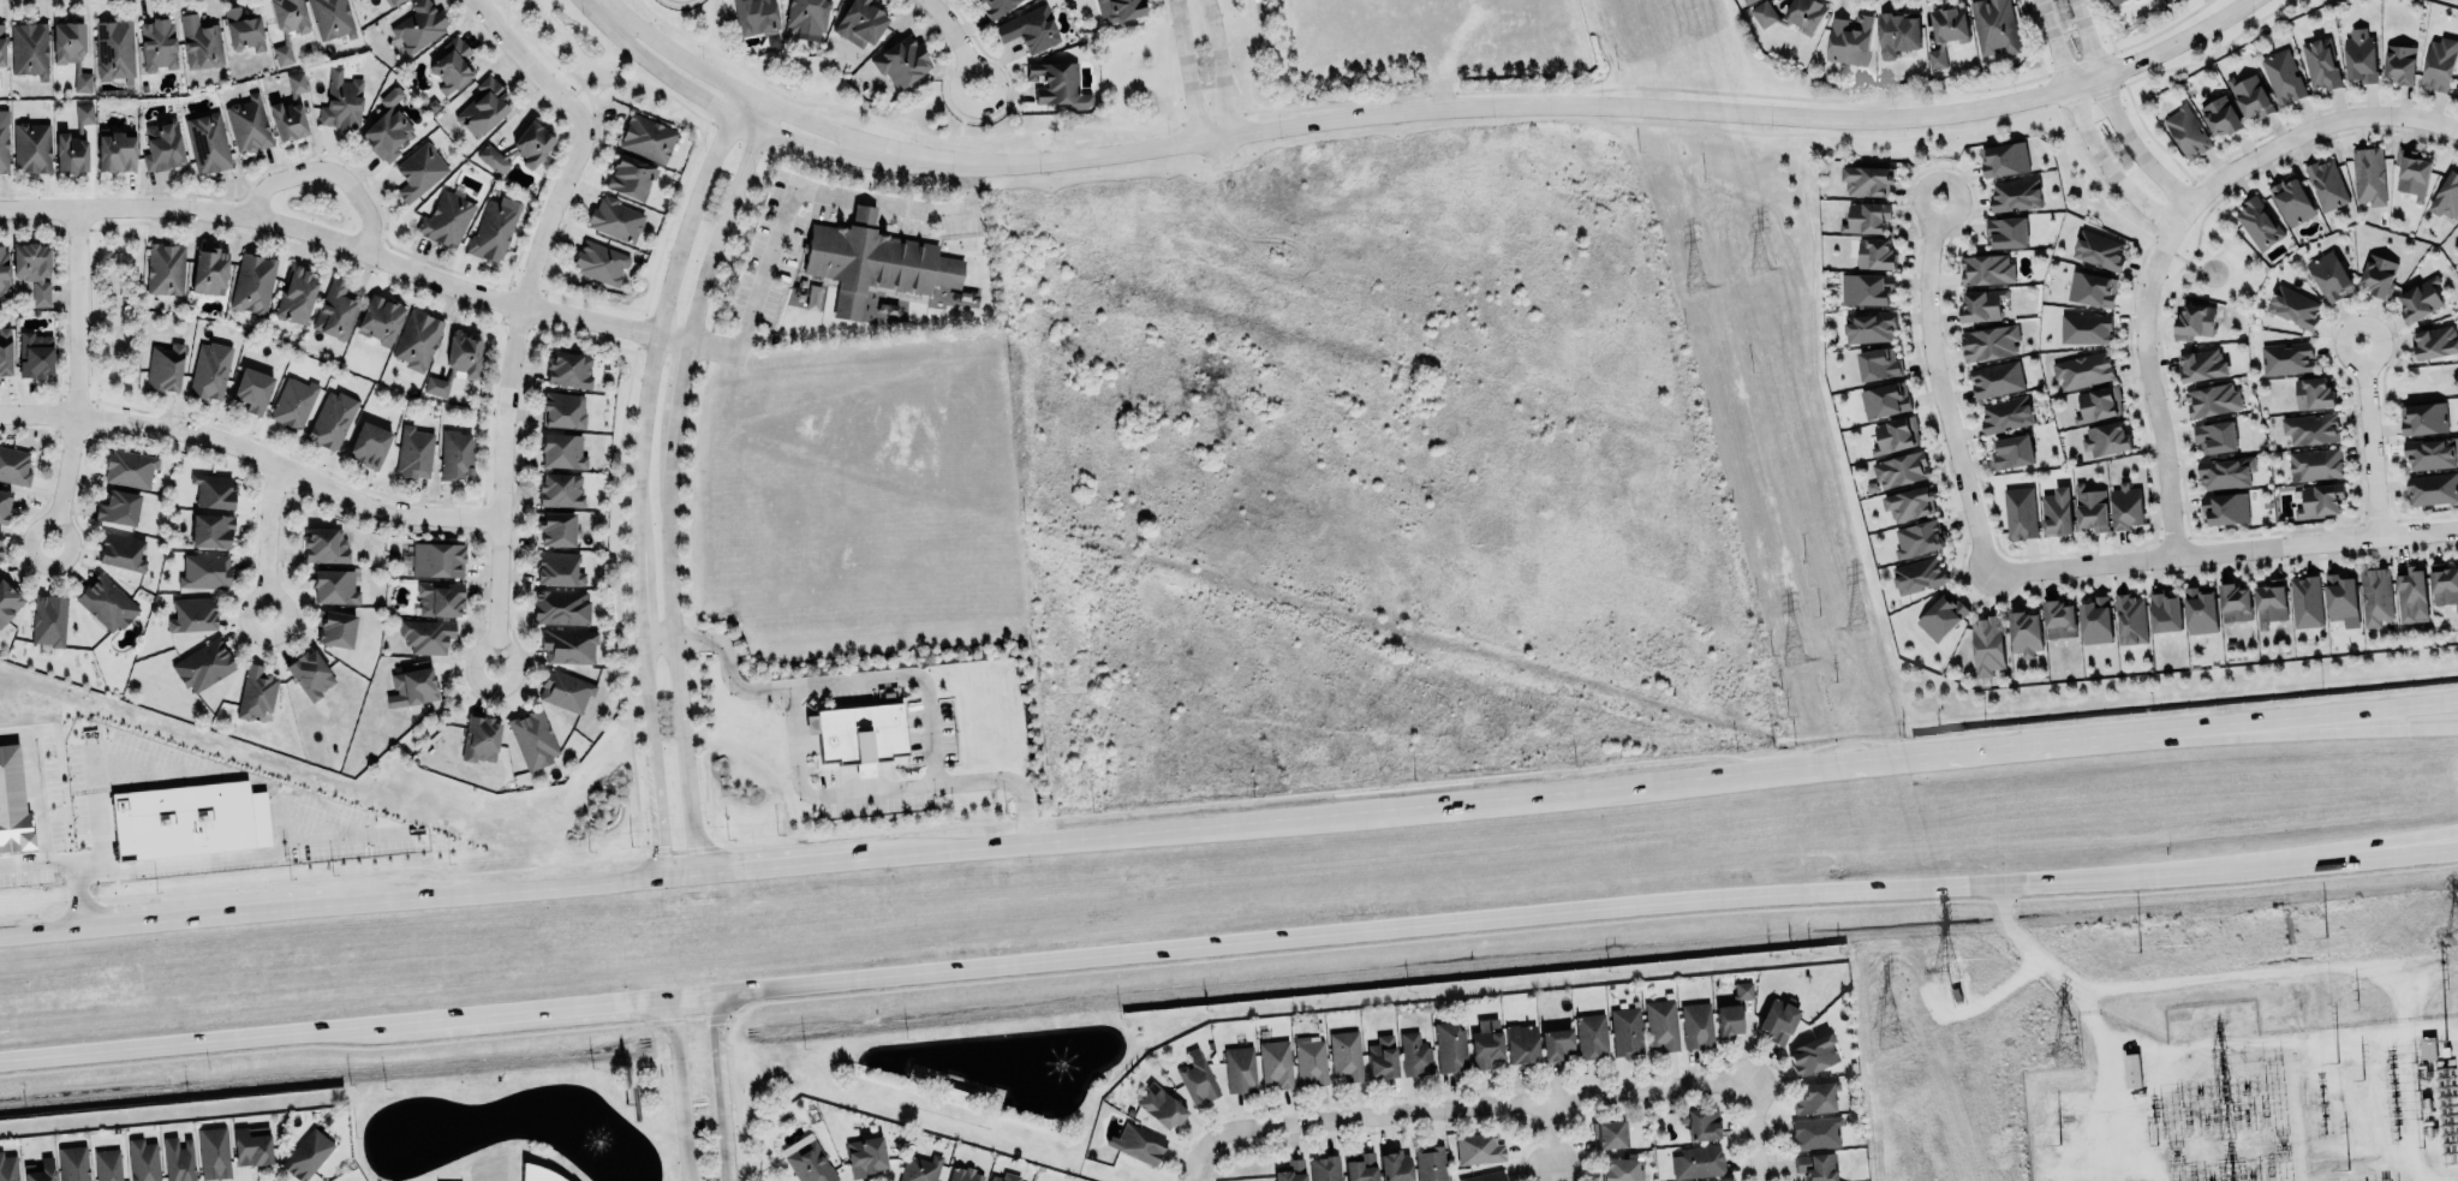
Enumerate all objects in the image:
building: (2134, 0)
building: (390, 1)
building: (1748, 1)
building: (2116, 1)
road: (610, 2)
building: (995, 6)
road: (605, 7)
building: (1120, 8)
building: (1792, 14)
building: (754, 16)
building: (806, 17)
building: (332, 18)
building: (859, 23)
building: (418, 24)
building: (1950, 24)
building: (287, 25)
building: (1994, 25)
building: (1030, 28)
building: (243, 30)
road: (2159, 31)
building: (1897, 32)
building: (1848, 38)
road: (960, 40)
building: (201, 42)
building: (156, 43)
building: (1, 46)
building: (29, 48)
building: (115, 48)
building: (71, 50)
building: (2359, 55)
building: (1935, 58)
building: (902, 60)
road: (530, 62)
building: (2321, 62)
road: (2075, 64)
building: (2399, 64)
building: (2439, 64)
building: (452, 65)
road: (1217, 66)
road: (1185, 70)
building: (2283, 77)
road: (615, 80)
road: (676, 80)
building: (1057, 83)
road: (733, 88)
building: (2456, 90)
building: (2250, 96)
building: (341, 100)
road: (1562, 103)
building: (483, 107)
road: (2111, 113)
road: (763, 117)
building: (2219, 117)
building: (287, 120)
road: (961, 121)
building: (247, 124)
building: (388, 127)
road: (2080, 127)
road: (2298, 130)
building: (2186, 131)
building: (646, 138)
building: (4, 141)
building: (207, 142)
building: (74, 143)
building: (531, 143)
road: (807, 143)
building: (31, 145)
building: (162, 145)
building: (115, 150)
road: (1927, 156)
building: (493, 159)
building: (2003, 159)
road: (332, 171)
building: (419, 171)
building: (2411, 172)
building: (631, 175)
building: (2368, 175)
building: (1867, 180)
building: (2326, 185)
building: (2015, 195)
building: (2447, 196)
road: (867, 202)
building: (2291, 202)
road: (948, 209)
building: (1866, 217)
building: (447, 219)
building: (615, 219)
building: (2259, 223)
building: (2457, 226)
building: (494, 229)
building: (2005, 232)
road: (721, 233)
road: (347, 244)
building: (2099, 250)
building: (1875, 254)
building: (875, 261)
building: (598, 262)
road: (764, 266)
power tower: (1756, 266)
building: (165, 268)
building: (32, 269)
building: (209, 269)
building: (1986, 269)
building: (4, 272)
building: (2329, 275)
building: (2378, 275)
building: (252, 284)
power tower: (1699, 287)
building: (2092, 288)
building: (1867, 290)
building: (294, 294)
building: (2420, 300)
building: (1981, 305)
building: (2293, 308)
building: (336, 309)
building: (378, 318)
building: (2194, 323)
building: (1868, 327)
building: (2086, 328)
building: (417, 340)
building: (1989, 342)
building: (2434, 342)
building: (5, 351)
building: (35, 354)
building: (463, 354)
building: (2285, 358)
building: (1879, 364)
building: (2201, 364)
building: (165, 366)
building: (2082, 369)
building: (209, 370)
building: (568, 370)
road: (78, 377)
road: (511, 378)
building: (1995, 378)
building: (435, 386)
road: (1944, 387)
building: (252, 389)
road: (2149, 390)
building: (2313, 392)
road: (676, 399)
building: (1884, 400)
building: (2212, 400)
building: (293, 401)
building: (2098, 405)
building: (562, 410)
building: (2005, 413)
building: (2422, 418)
building: (332, 419)
building: (2310, 429)
building: (1896, 435)
building: (2214, 435)
building: (2106, 440)
road: (2369, 440)
building: (369, 445)
building: (562, 451)
building: (413, 452)
building: (2011, 452)
building: (2430, 453)
road: (255, 454)
building: (455, 454)
building: (2314, 464)
building: (14, 465)
building: (130, 467)
building: (1901, 470)
building: (2225, 472)
road: (642, 475)
building: (560, 489)
building: (2432, 489)
building: (213, 490)
building: (2320, 500)
building: (1909, 503)
building: (4, 505)
building: (2125, 506)
building: (118, 507)
building: (2090, 507)
building: (2225, 508)
building: (2057, 512)
building: (2018, 513)
road: (270, 527)
building: (211, 529)
building: (557, 529)
building: (0, 535)
building: (1919, 538)
building: (324, 544)
building: (1, 550)
building: (121, 551)
road: (2224, 551)
building: (437, 560)
building: (559, 568)
building: (204, 571)
building: (1917, 574)
building: (335, 585)
building: (2444, 585)
building: (2375, 596)
building: (2411, 596)
building: (440, 597)
building: (2341, 597)
building: (8, 601)
building: (105, 602)
building: (2307, 602)
building: (2235, 603)
building: (2269, 603)
building: (560, 606)
building: (2199, 609)
building: (2164, 612)
building: (192, 614)
building: (1941, 616)
building: (48, 619)
building: (2130, 619)
building: (2059, 621)
building: (2095, 622)
road: (284, 624)
power tower: (1856, 627)
building: (335, 628)
building: (2023, 632)
building: (426, 636)
building: (1987, 644)
building: (568, 645)
power tower: (1791, 656)
road: (513, 661)
building: (203, 664)
road: (680, 664)
building: (310, 674)
building: (411, 686)
building: (565, 690)
building: (256, 692)
road: (929, 703)
road: (2325, 715)
road: (2325, 728)
building: (859, 733)
building: (532, 738)
building: (481, 739)
road: (2021, 745)
road: (1008, 777)
road: (1360, 810)
road: (2373, 847)
road: (2373, 855)
road: (784, 861)
road: (680, 870)
road: (503, 887)
road: (213, 913)
road: (41, 929)
power tower: (2452, 934)
road: (1144, 955)
power tower: (1944, 968)
power tower: (2445, 978)
railway: (1229, 980)
building: (1742, 989)
road: (2078, 991)
power tower: (2355, 1001)
building: (1728, 1015)
building: (1778, 1018)
building: (1696, 1022)
building: (1660, 1024)
building: (1627, 1028)
power tower: (1885, 1032)
building: (1591, 1034)
building: (1485, 1042)
building: (1522, 1042)
building: (1556, 1042)
building: (1450, 1046)
building: (2427, 1048)
building: (1415, 1052)
building: (1346, 1054)
power tower: (2062, 1054)
building: (1382, 1055)
building: (1812, 1055)
building: (1309, 1058)
building: (1275, 1061)
fountain: (1067, 1063)
building: (1239, 1068)
building: (2130, 1069)
building: (1198, 1076)
road: (720, 1088)
road: (680, 1091)
building: (1815, 1094)
building: (1161, 1104)
power substation: (2249, 1105)
road: (1451, 1108)
building: (1700, 1122)
road: (1756, 1131)
building: (1610, 1132)
building: (1815, 1132)
road: (1552, 1138)
fountain: (599, 1144)
building: (1140, 1144)
building: (250, 1145)
building: (1479, 1146)
building: (214, 1151)
building: (306, 1151)
building: (865, 1153)
building: (178, 1158)
building: (143, 1159)
building: (1698, 1161)
building: (810, 1162)
building: (72, 1163)
building: (1395, 1163)
building: (1430, 1163)
building: (107, 1164)
building: (1815, 1165)
building: (919, 1167)
building: (1360, 1167)
building: (7, 1168)
building: (1325, 1168)
building: (1621, 1168)
building: (42, 1170)
building: (1291, 1170)
building: (537, 1171)
building: (965, 1174)
building: (1006, 1176)
building: (1485, 1176)
building: (1708, 1180)

